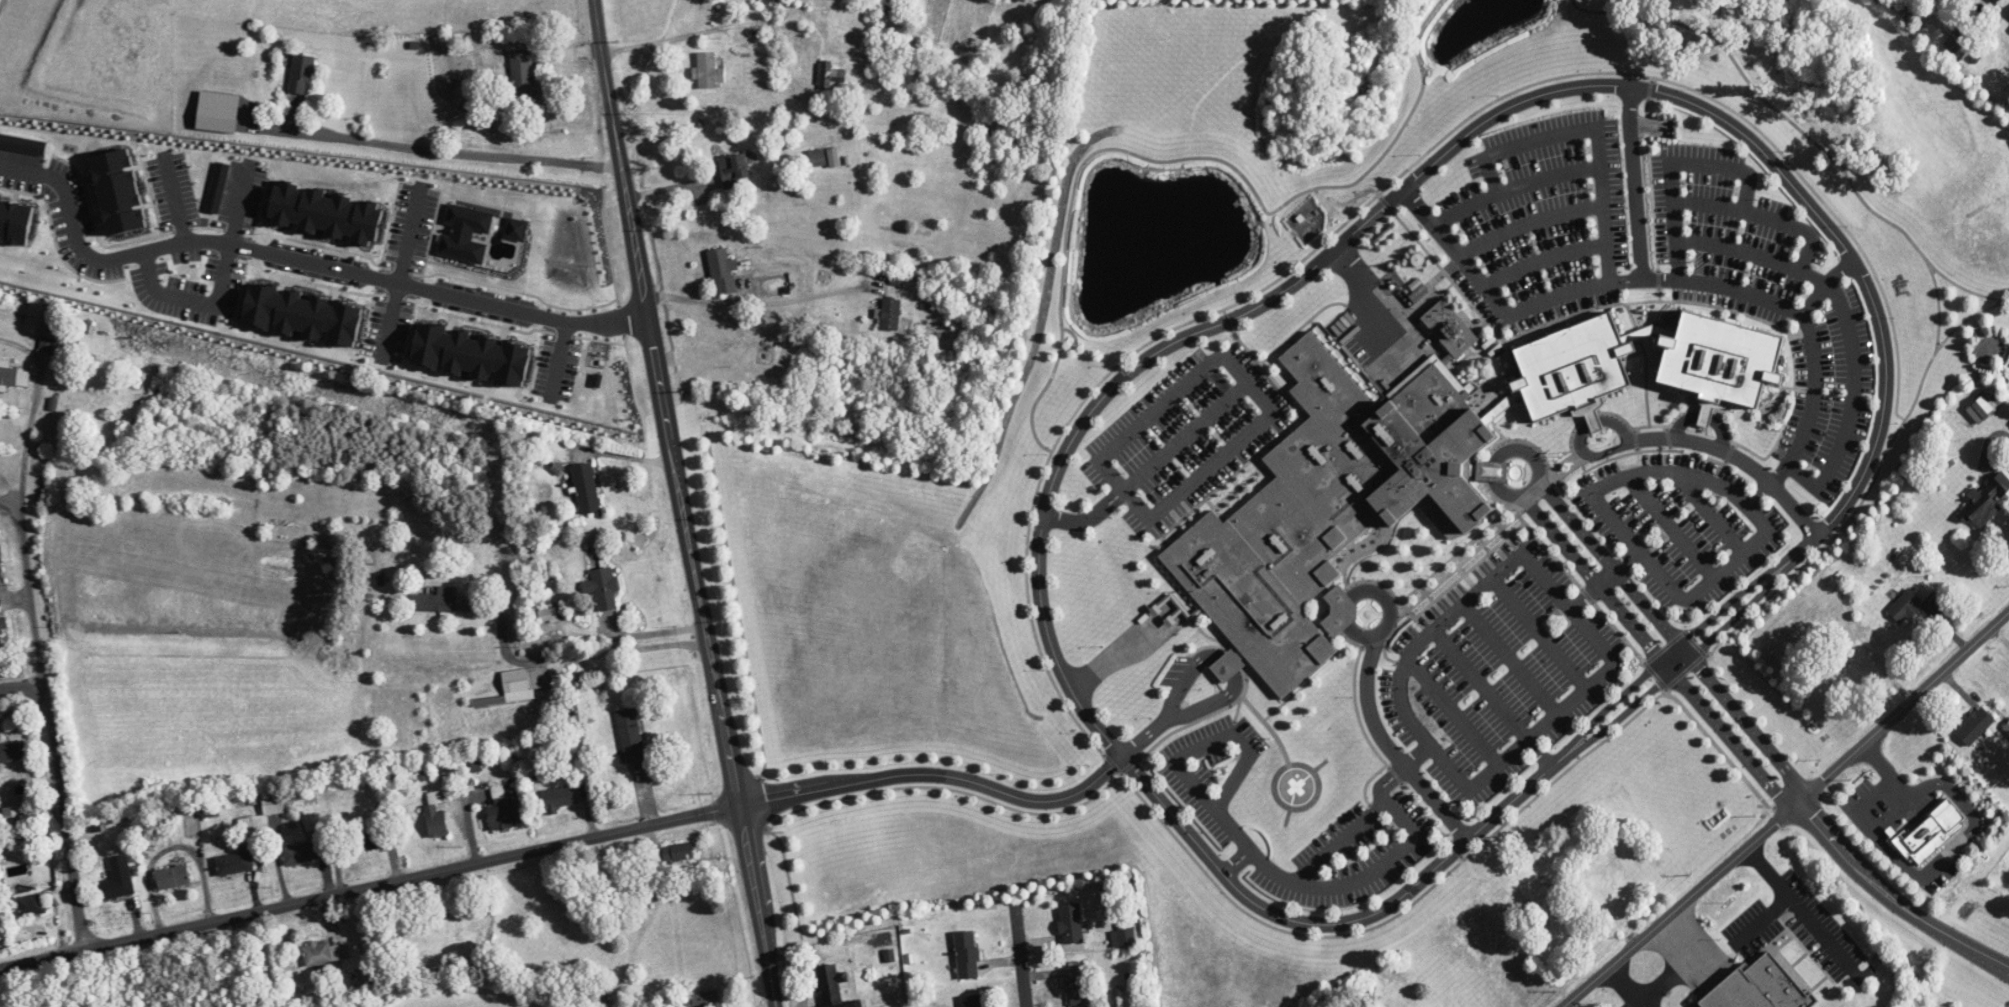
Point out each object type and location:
building: (1995, 1)
building: (767, 3)
building: (892, 12)
road: (656, 41)
building: (709, 70)
building: (301, 74)
building: (445, 74)
building: (825, 74)
building: (523, 75)
road: (1720, 102)
road: (1539, 139)
road: (453, 151)
road: (1686, 162)
building: (734, 169)
road: (1532, 181)
road: (173, 198)
road: (1636, 200)
road: (1342, 203)
road: (1389, 210)
road: (1567, 210)
road: (1763, 214)
parking lot: (1540, 219)
building: (18, 221)
road: (1066, 229)
parking lot: (1728, 232)
road: (1736, 248)
road: (1455, 250)
road: (1542, 257)
road: (299, 260)
building: (723, 271)
road: (402, 273)
road: (1625, 280)
road: (220, 286)
road: (1965, 287)
road: (1825, 288)
road: (1363, 290)
road: (1557, 298)
road: (694, 300)
building: (891, 313)
road: (1967, 319)
road: (650, 321)
building: (51, 324)
building: (1450, 326)
road: (1808, 329)
road: (1196, 332)
road: (559, 356)
building: (13, 376)
road: (40, 391)
building: (600, 394)
parking lot: (1829, 394)
building: (89, 397)
road: (1852, 406)
road: (1157, 407)
building: (1984, 407)
road: (1704, 413)
road: (1185, 435)
parking lot: (1186, 436)
road: (1671, 440)
road: (1528, 451)
road: (1210, 467)
road: (1492, 469)
building: (1408, 471)
road: (1767, 486)
building: (586, 487)
building: (1985, 500)
road: (1707, 510)
road: (1087, 517)
parking lot: (1677, 524)
road: (1669, 526)
road: (1840, 527)
road: (1750, 545)
building: (0, 558)
road: (1603, 580)
building: (603, 587)
building: (434, 600)
building: (1906, 605)
building: (3, 628)
road: (656, 631)
road: (1538, 633)
road: (1692, 634)
road: (1702, 645)
road: (578, 655)
road: (1114, 656)
road: (1510, 657)
building: (1847, 659)
parking lot: (1496, 670)
road: (1365, 679)
road: (1480, 683)
building: (519, 685)
road: (21, 686)
road: (1451, 711)
road: (47, 712)
road: (1274, 723)
building: (1976, 725)
building: (2007, 727)
building: (631, 737)
road: (1216, 740)
building: (12, 751)
road: (1539, 753)
parking lot: (1210, 768)
road: (1398, 771)
road: (1476, 784)
helipad: (1296, 787)
road: (1060, 798)
road: (1778, 798)
building: (273, 804)
building: (505, 809)
road: (1784, 810)
building: (13, 818)
building: (437, 821)
road: (740, 825)
road: (1407, 825)
road: (1164, 828)
building: (362, 839)
road: (1246, 851)
building: (305, 852)
building: (678, 852)
parking lot: (1353, 854)
building: (235, 864)
road: (1235, 865)
building: (1603, 866)
building: (173, 877)
building: (117, 880)
road: (368, 887)
road: (1891, 898)
building: (32, 905)
road: (1797, 906)
building: (1547, 908)
road: (1764, 918)
building: (1070, 924)
building: (1505, 936)
road: (1019, 949)
building: (324, 953)
building: (967, 954)
road: (1680, 964)
building: (364, 979)
building: (1078, 985)
building: (830, 986)
road: (1622, 986)
building: (1760, 987)
building: (703, 1000)
building: (973, 1001)

